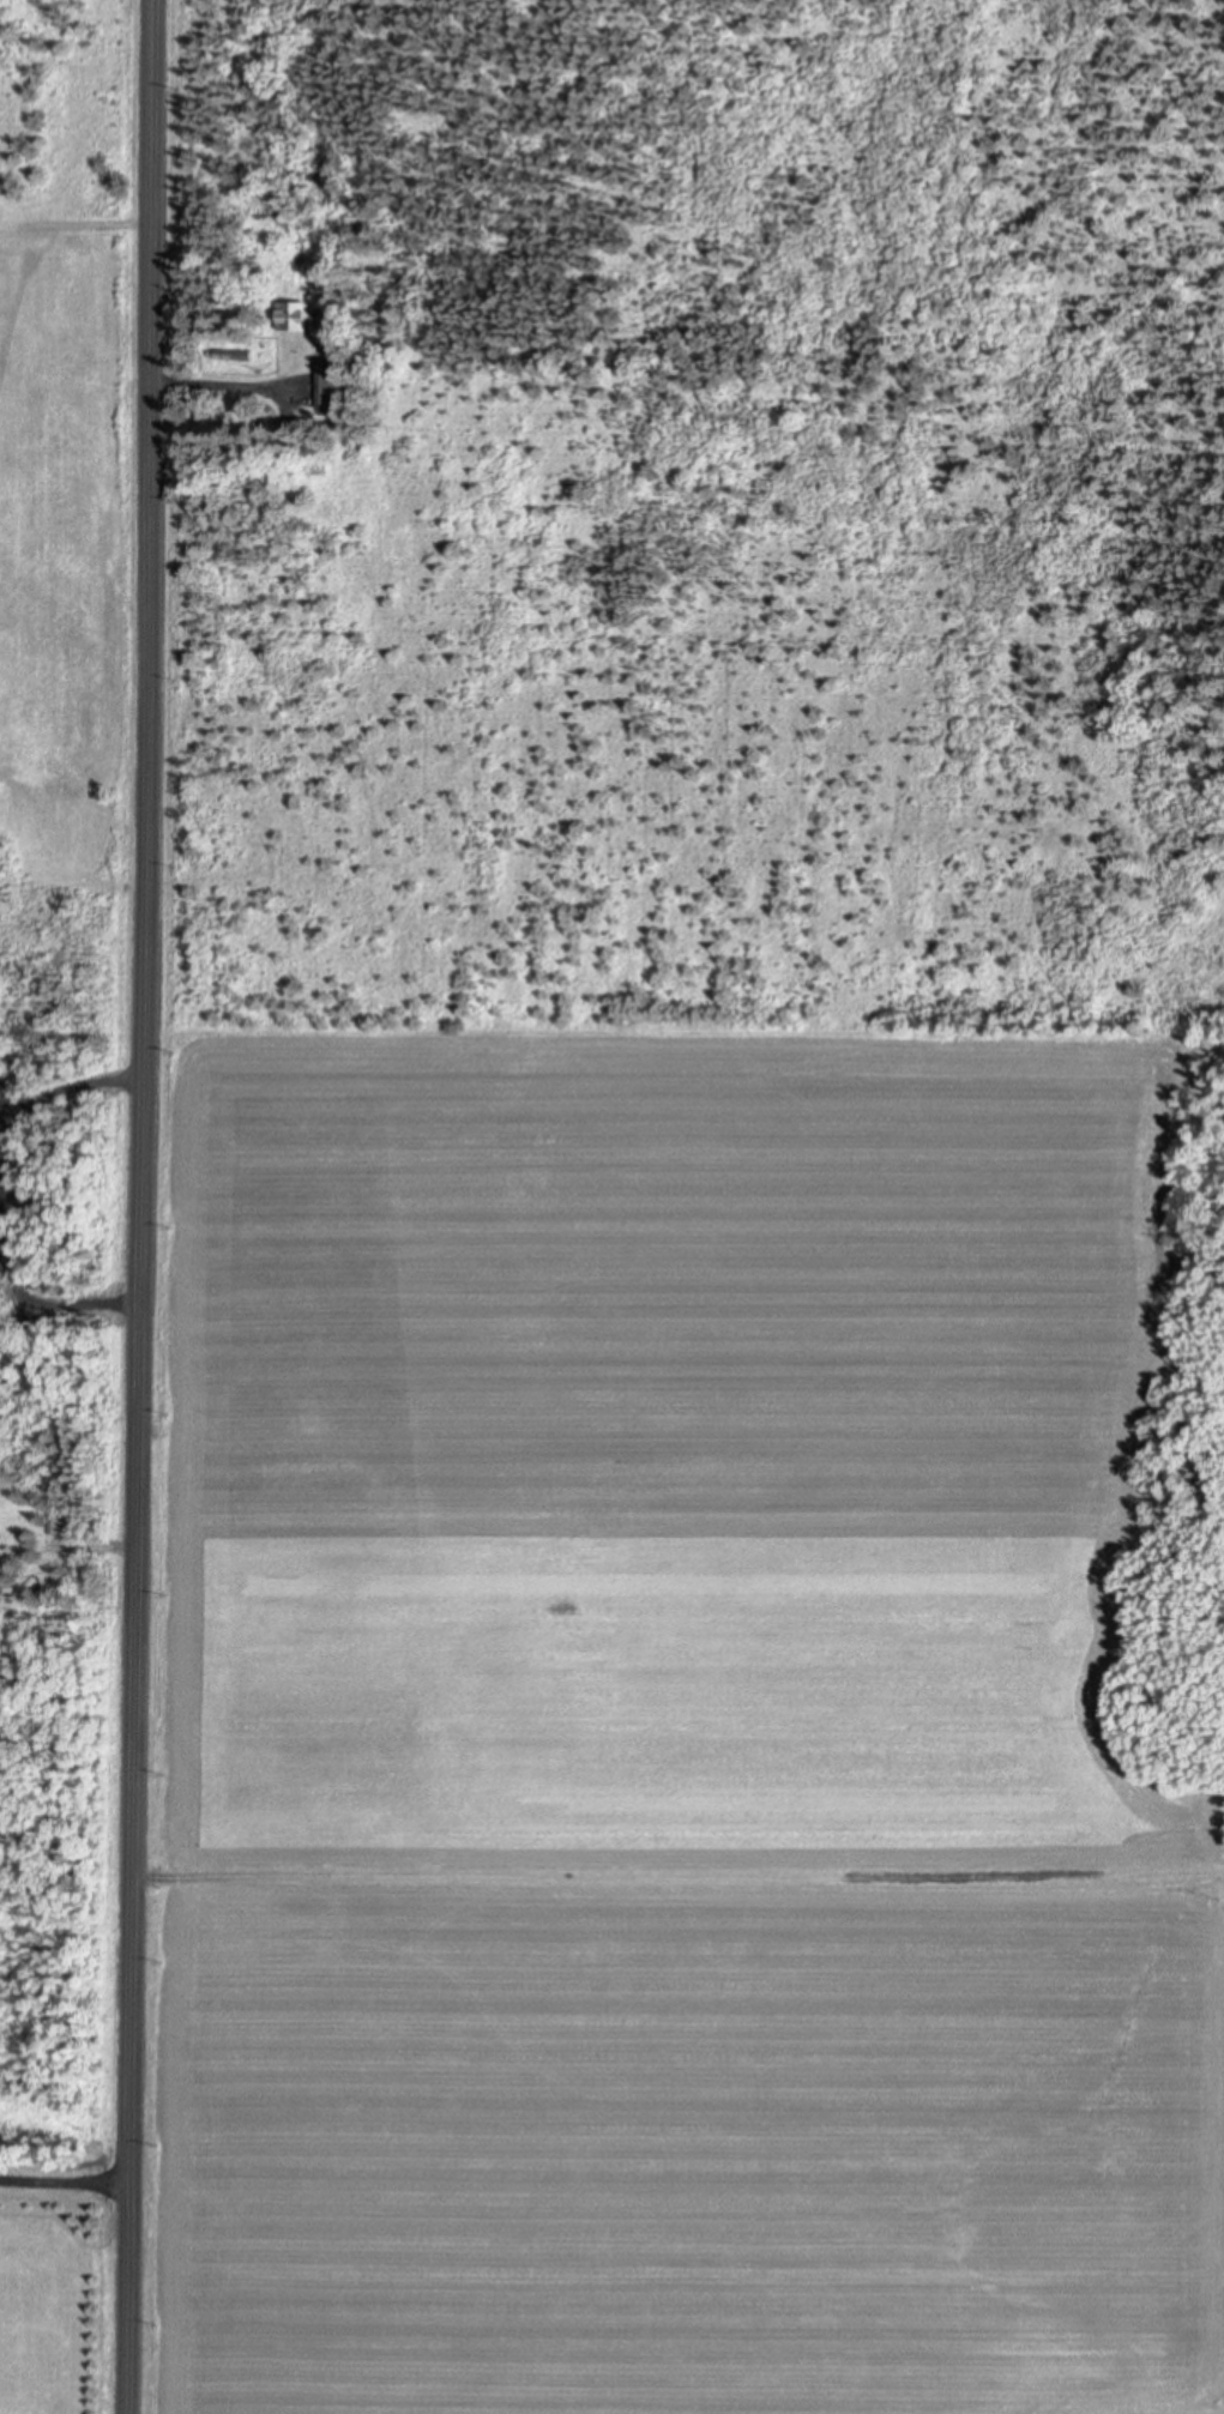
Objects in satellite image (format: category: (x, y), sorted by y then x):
building: (296, 316)
building: (328, 384)
road: (222, 386)
road: (139, 1207)
road: (65, 2184)

